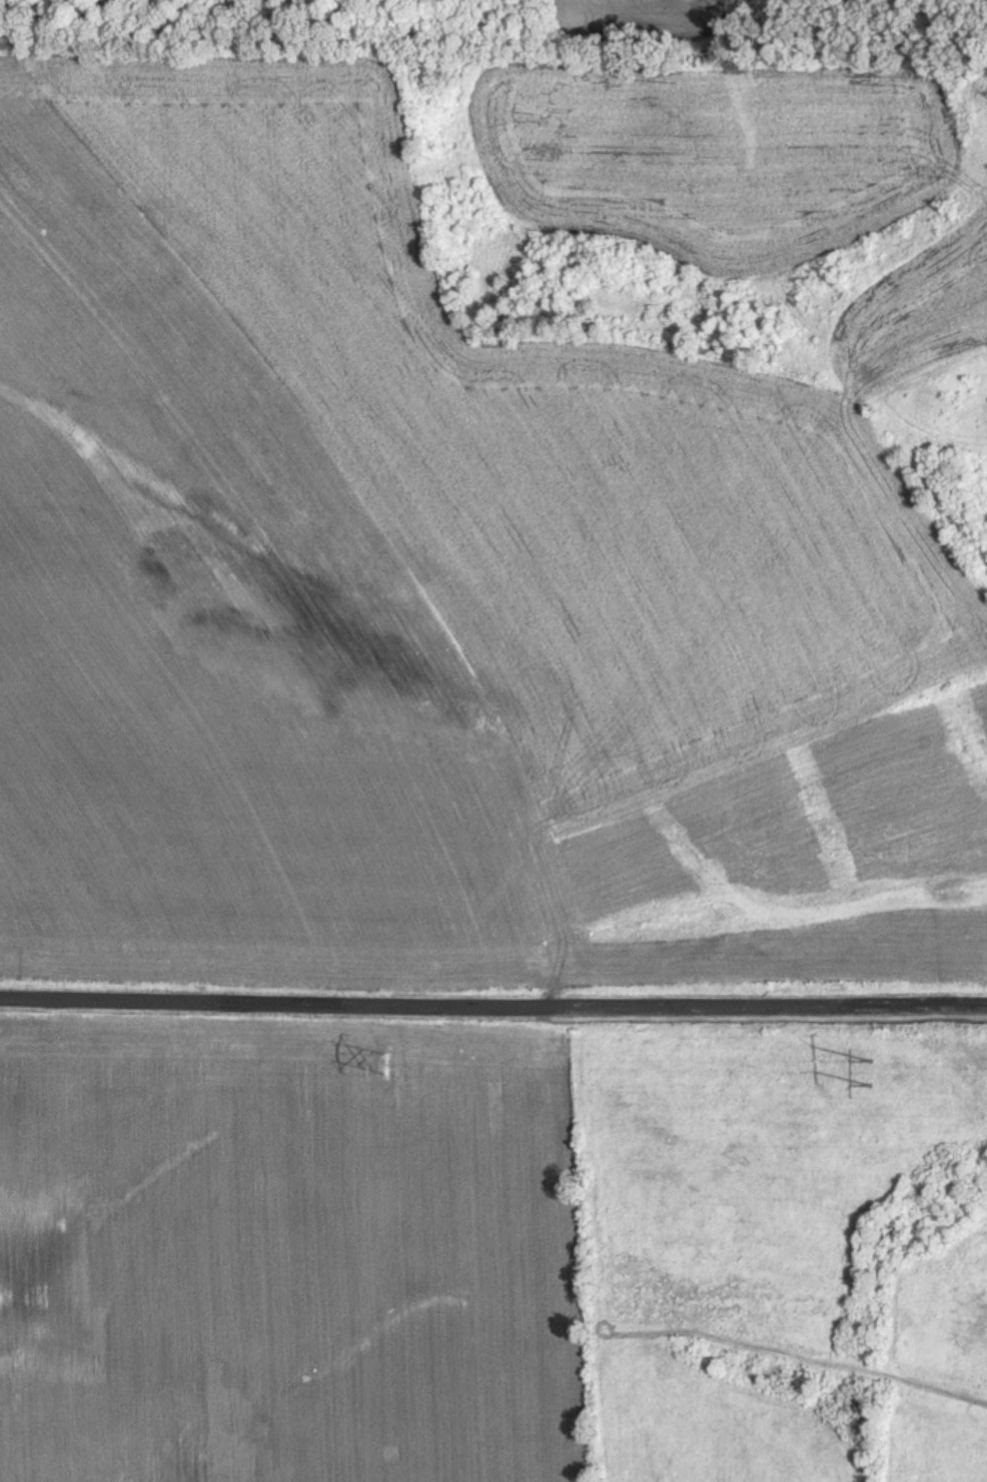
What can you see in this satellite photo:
road: (493, 1005)
power tower: (387, 1064)
power tower: (872, 1073)

